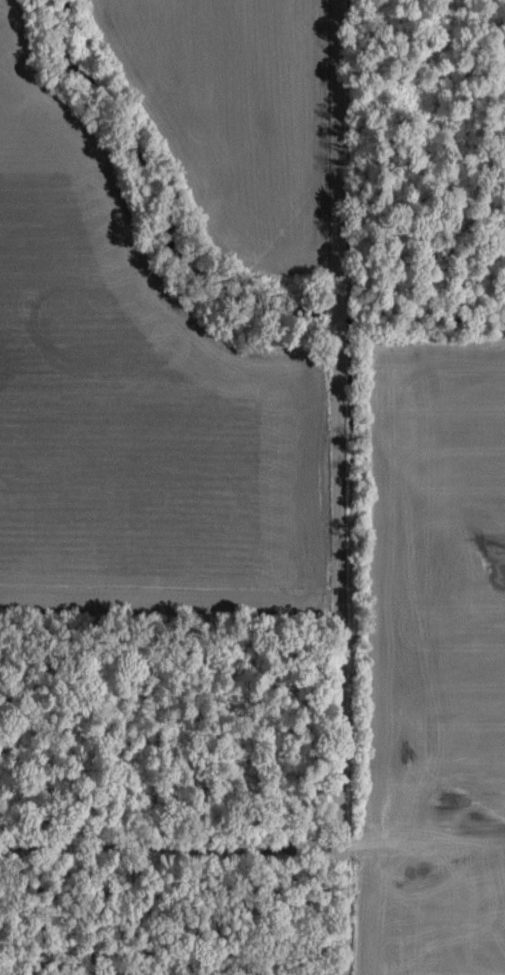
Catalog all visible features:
road: (331, 487)

